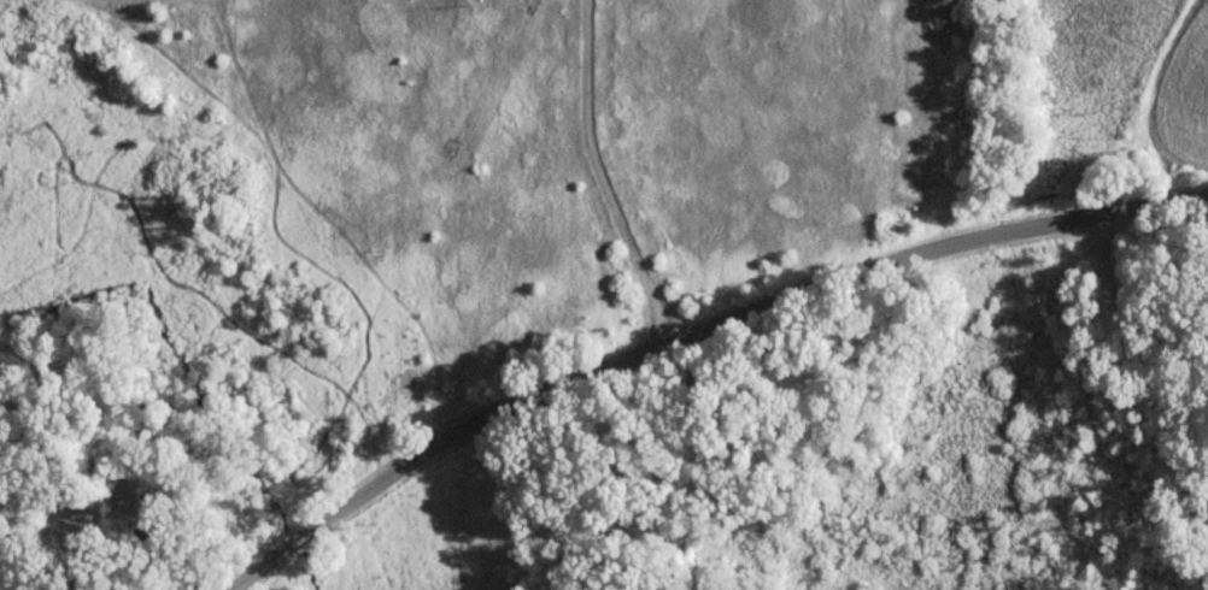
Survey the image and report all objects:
road: (602, 177)
parking lot: (1091, 230)
road: (693, 336)
road: (1144, 387)
park: (880, 446)

